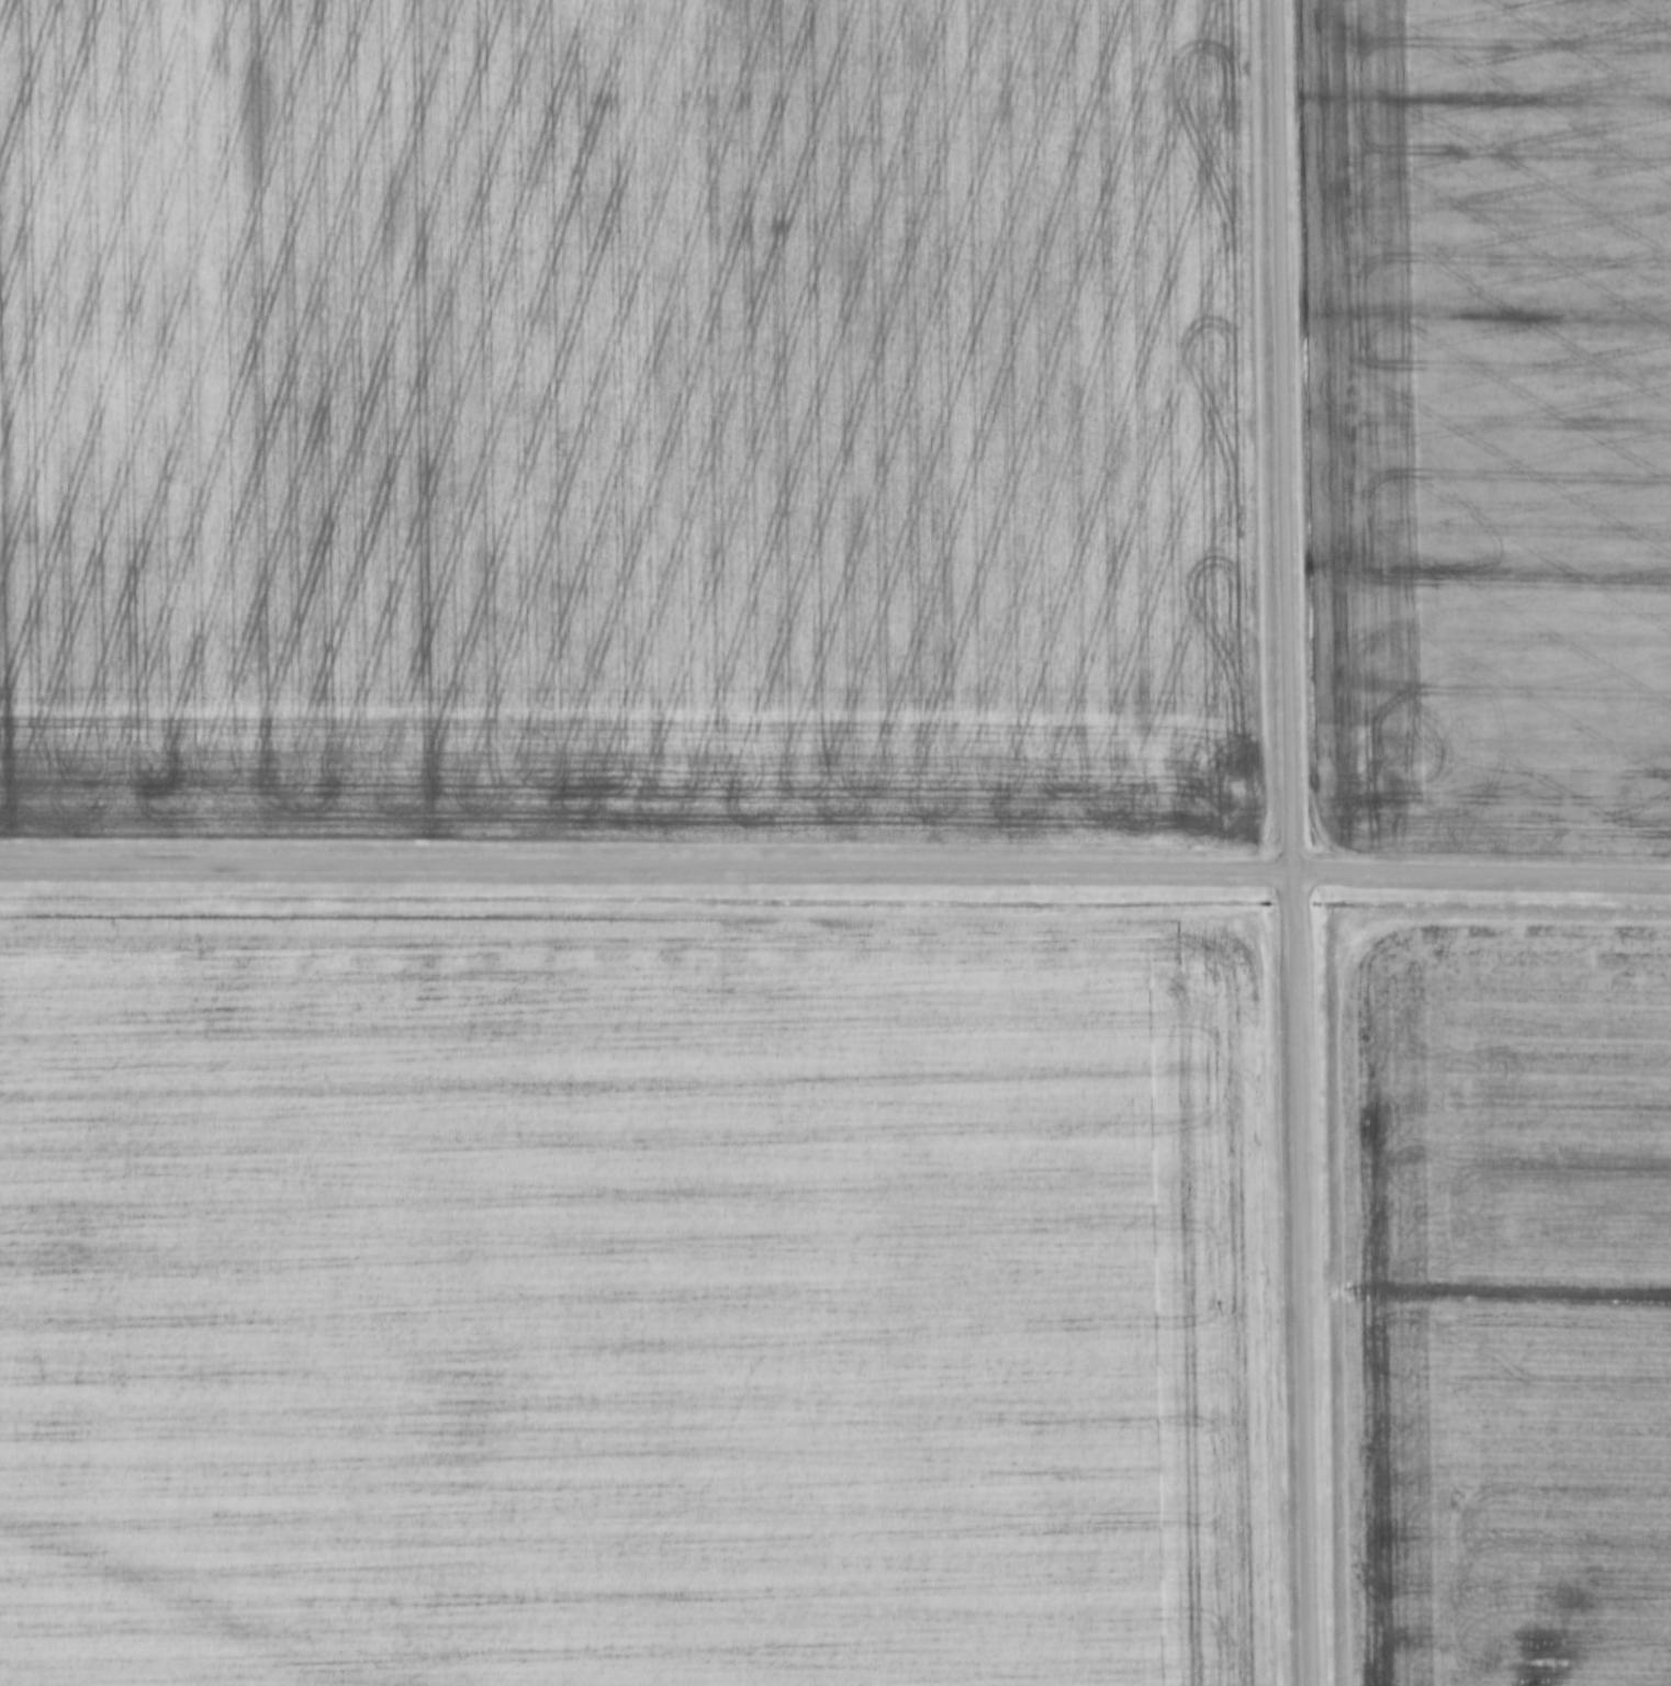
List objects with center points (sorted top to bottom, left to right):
road: (1288, 842)
road: (644, 865)
road: (1480, 872)

